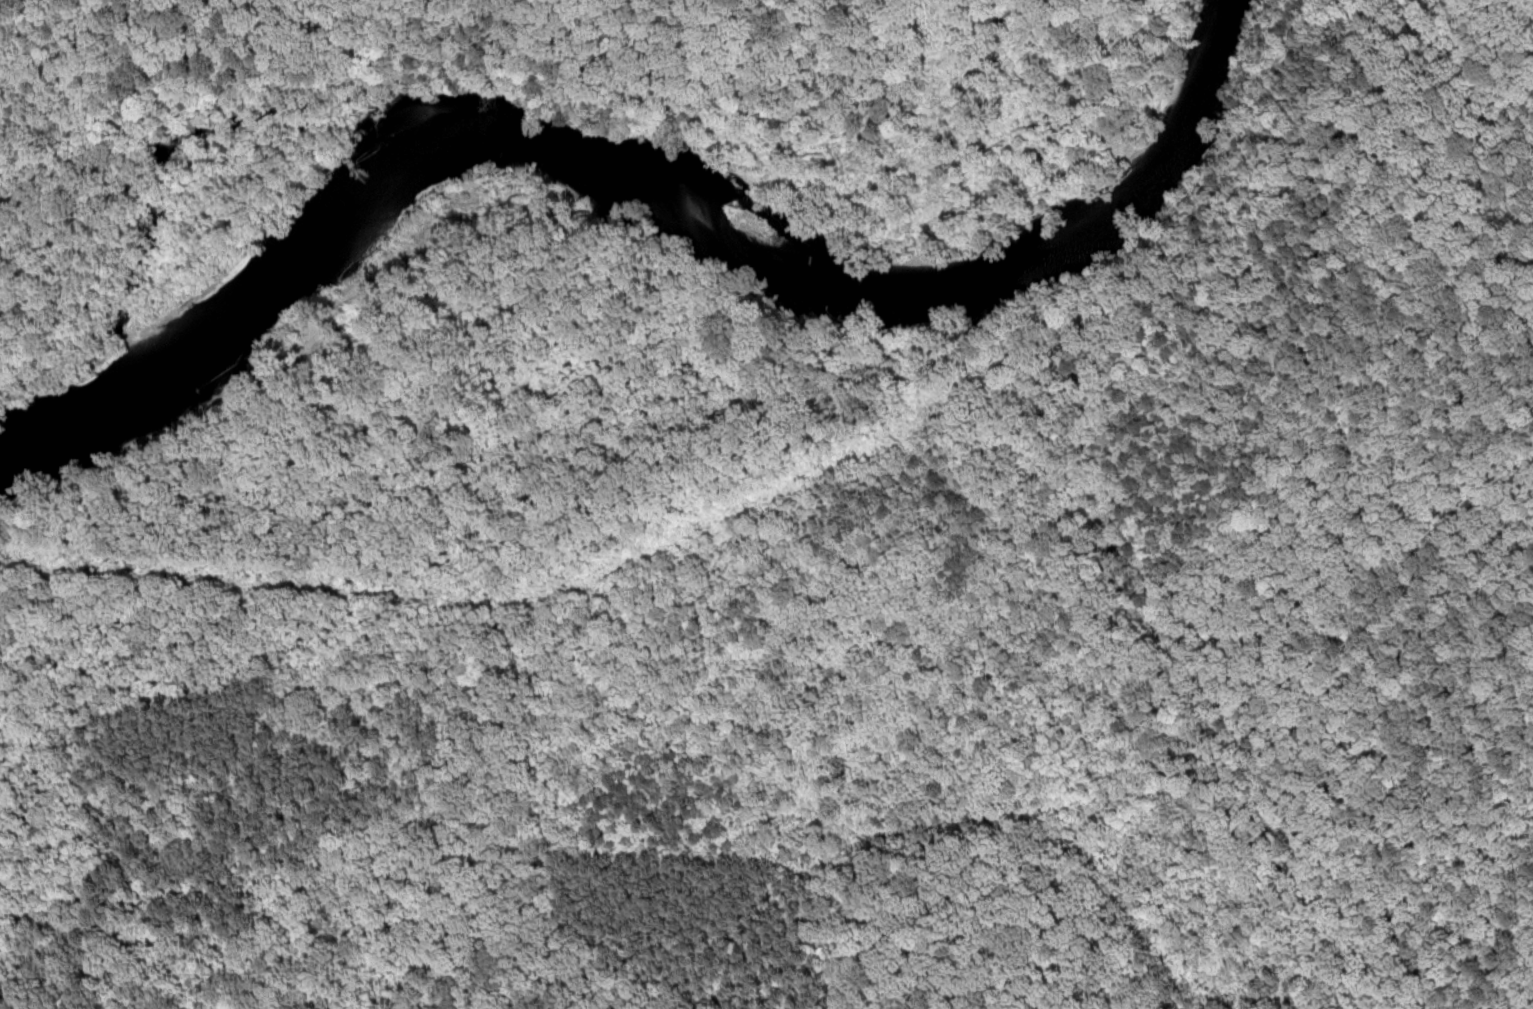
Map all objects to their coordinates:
river: (643, 206)
road: (1115, 446)
road: (687, 727)

